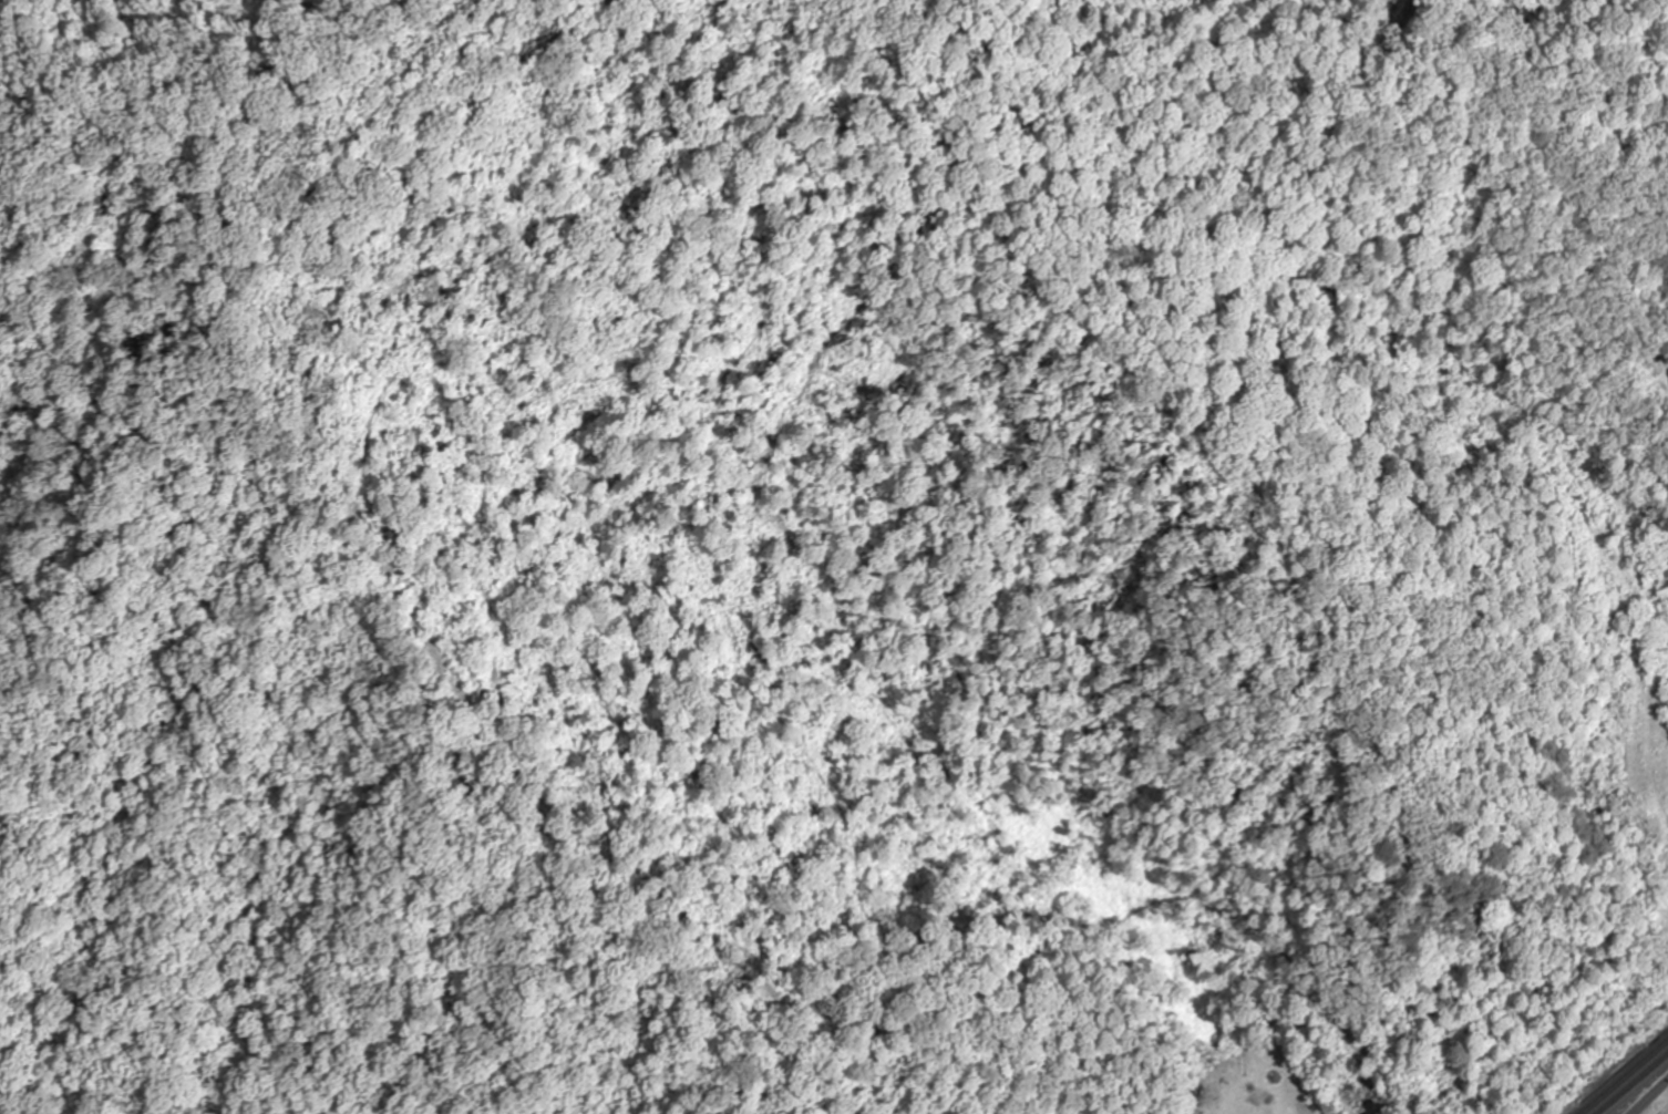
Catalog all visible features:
railway: (1624, 1076)
railway: (1633, 1083)
road: (1649, 1095)
road: (1438, 1104)

